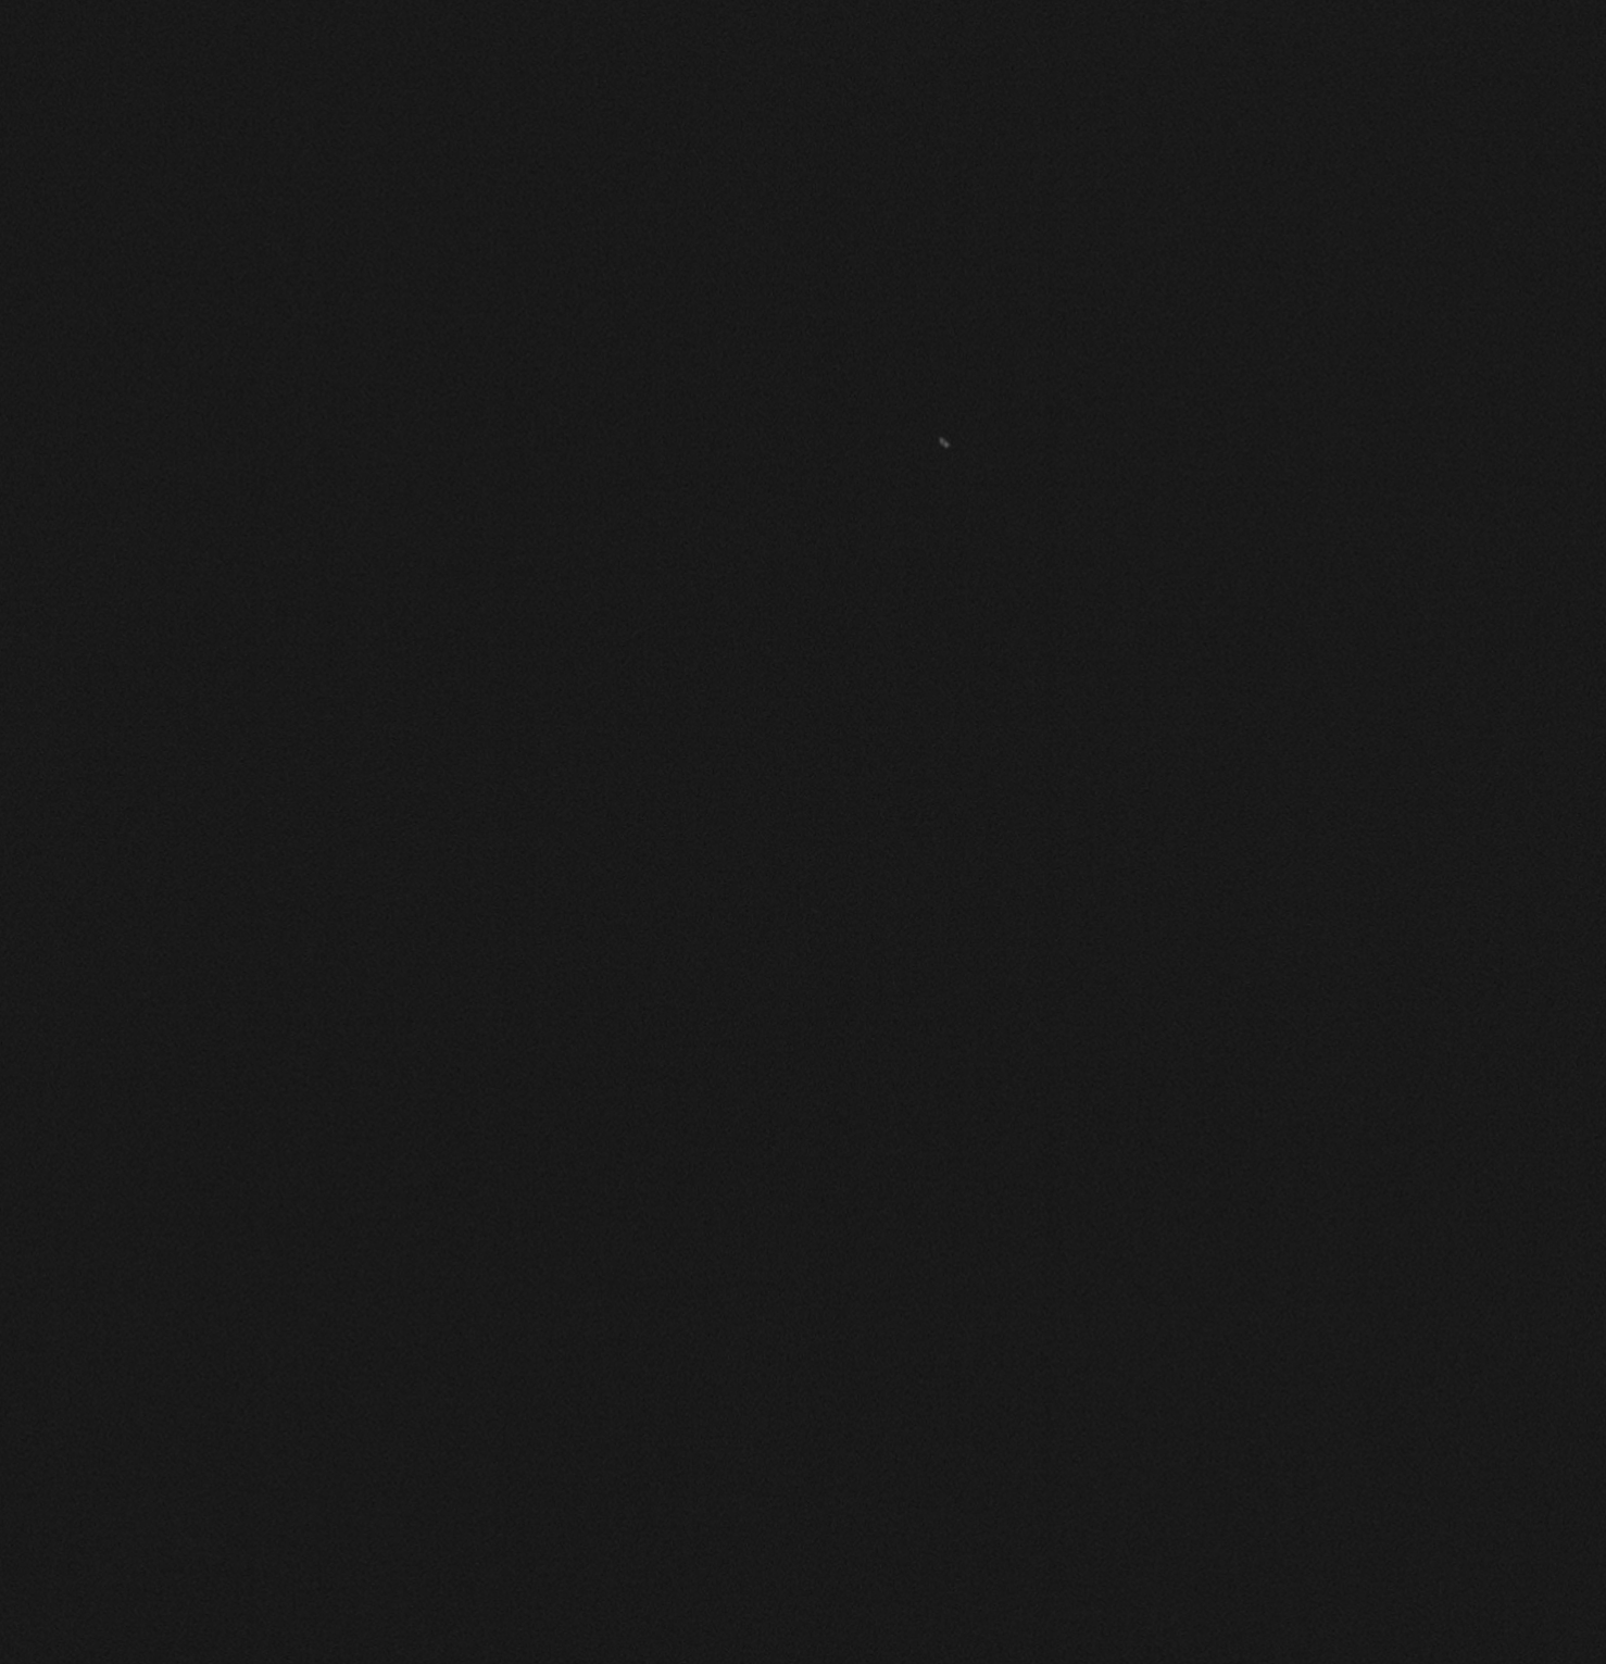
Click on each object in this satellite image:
river: (142, 1535)

